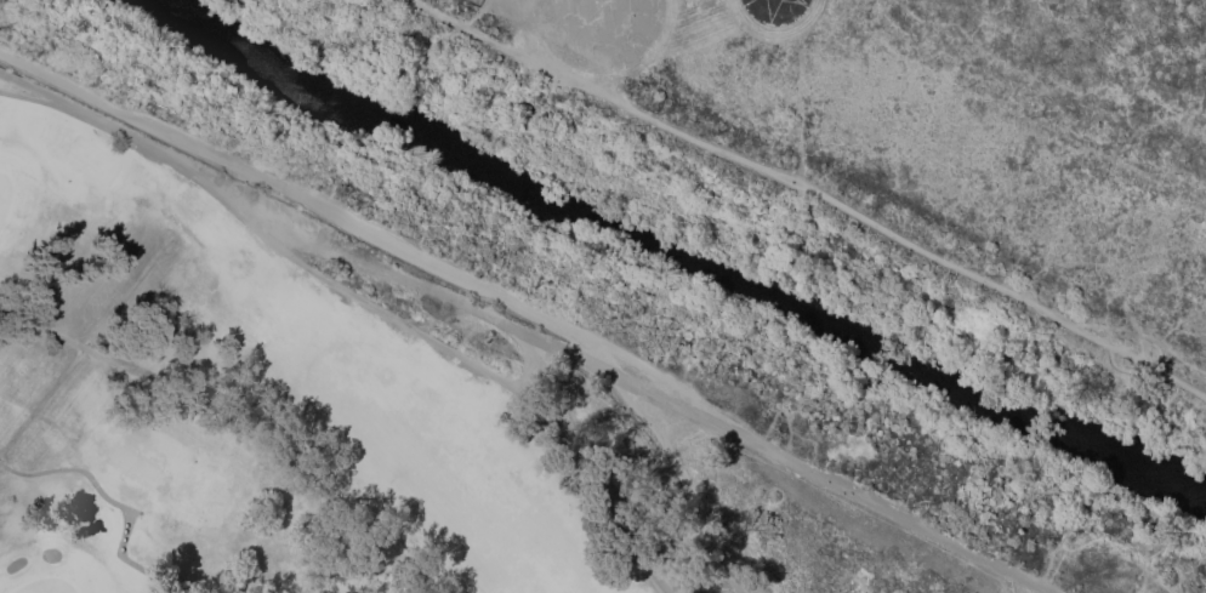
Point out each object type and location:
helipad: (599, 5)
road: (62, 108)
road: (814, 190)
road: (306, 198)
river: (676, 257)
park: (603, 296)
road: (363, 300)
park: (284, 399)
road: (232, 416)
road: (676, 474)
road: (823, 478)
road: (113, 501)
road: (130, 513)
road: (1018, 585)
park: (44, 586)

